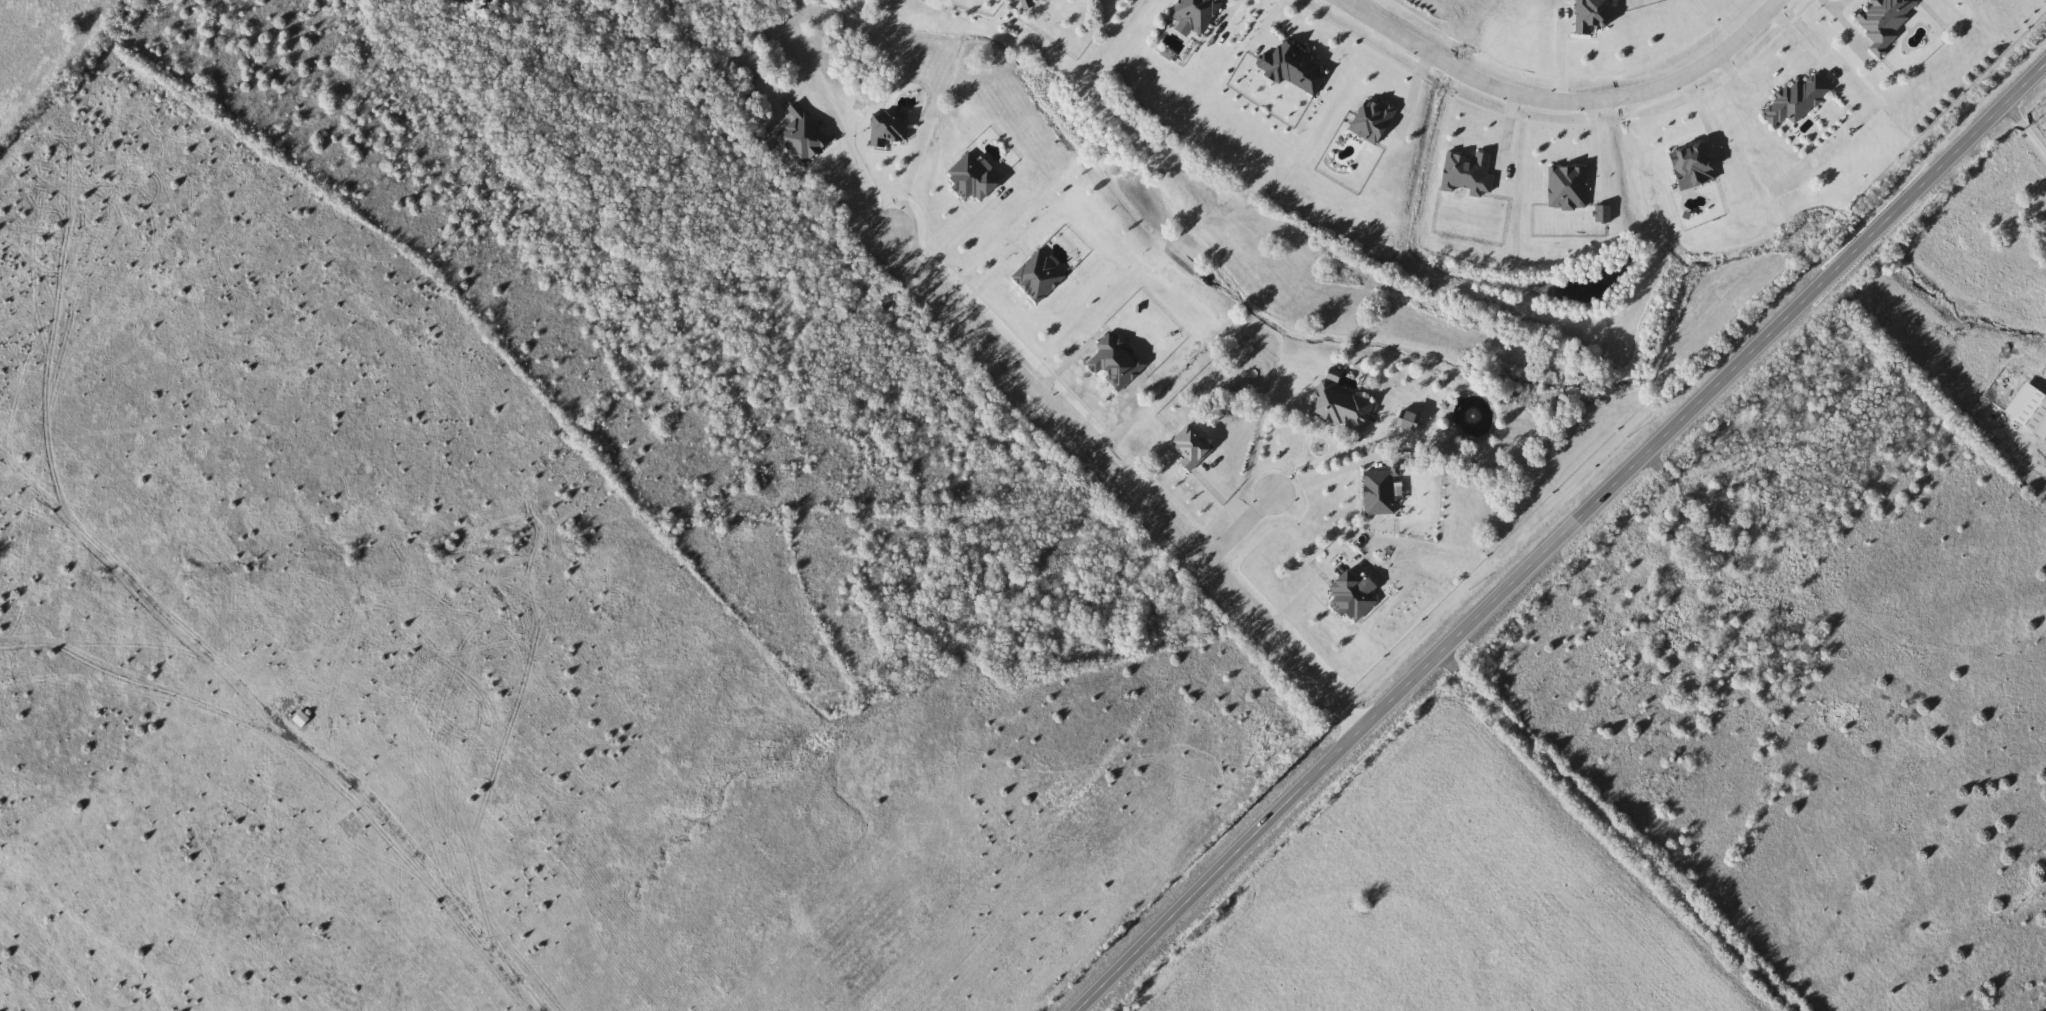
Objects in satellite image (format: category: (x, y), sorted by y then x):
road: (1841, 5)
building: (1197, 13)
building: (1589, 14)
building: (1885, 21)
road: (1849, 24)
road: (1805, 40)
building: (1296, 69)
road: (1766, 83)
building: (1798, 101)
road: (1564, 102)
building: (1373, 119)
road: (2028, 124)
building: (1692, 166)
building: (1464, 174)
road: (864, 175)
road: (885, 181)
building: (1566, 189)
road: (960, 228)
building: (1343, 407)
road: (1329, 456)
road: (1121, 482)
road: (1240, 528)
road: (1559, 533)
building: (303, 720)

